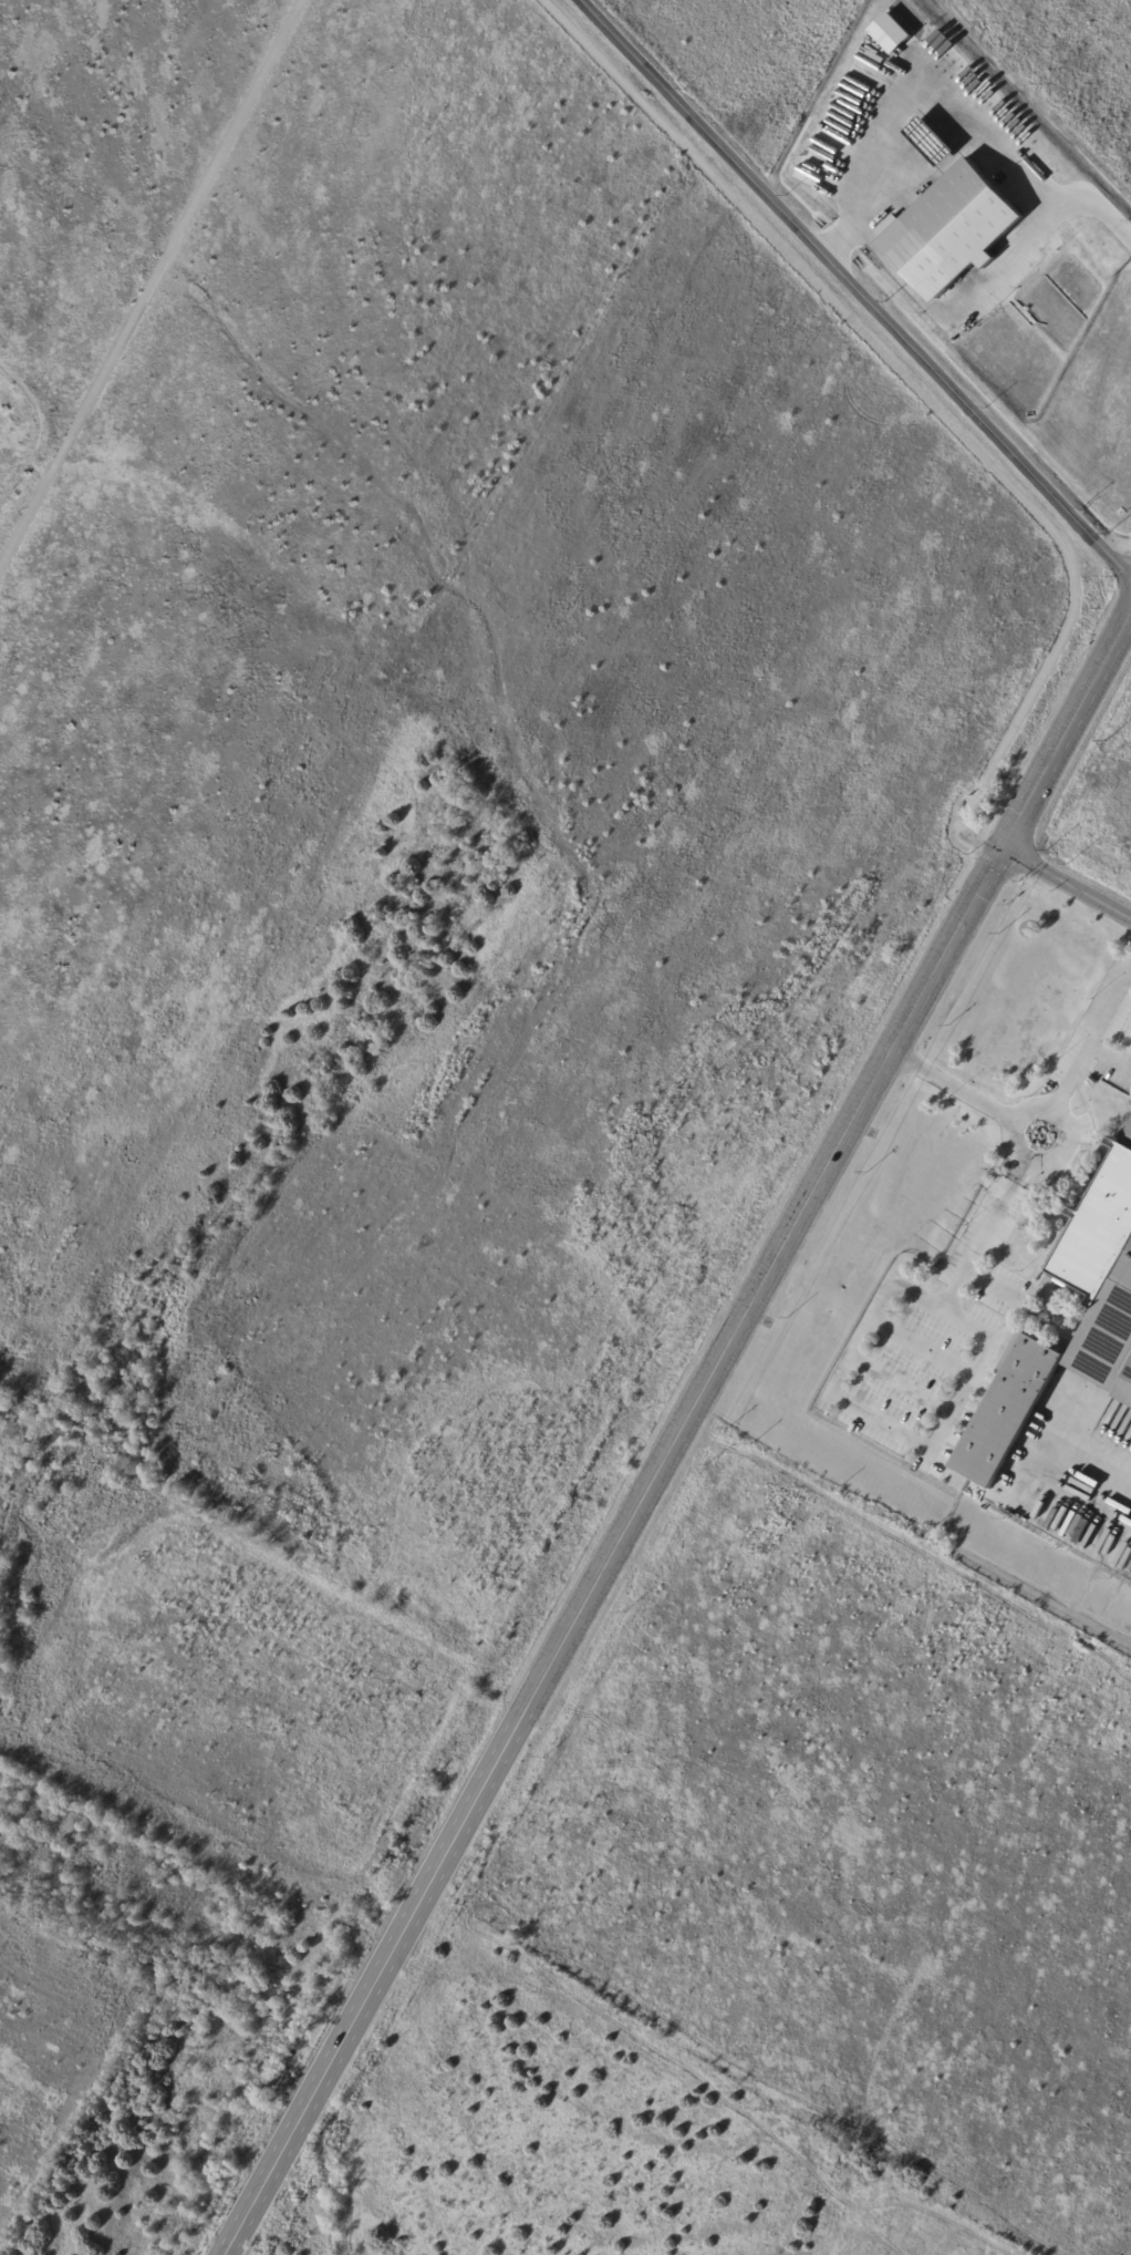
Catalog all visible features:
building: (890, 32)
road: (943, 90)
building: (933, 141)
building: (952, 230)
road: (148, 280)
road: (859, 287)
road: (958, 303)
road: (931, 398)
road: (42, 433)
road: (1068, 730)
road: (997, 863)
road: (1068, 882)
road: (1073, 905)
road: (1109, 1006)
road: (1109, 1053)
road: (1128, 1058)
road: (1068, 1077)
road: (1024, 1110)
building: (1102, 1271)
road: (990, 1280)
road: (920, 1346)
road: (900, 1383)
building: (1009, 1409)
road: (942, 1420)
road: (1106, 1445)
road: (611, 1548)

